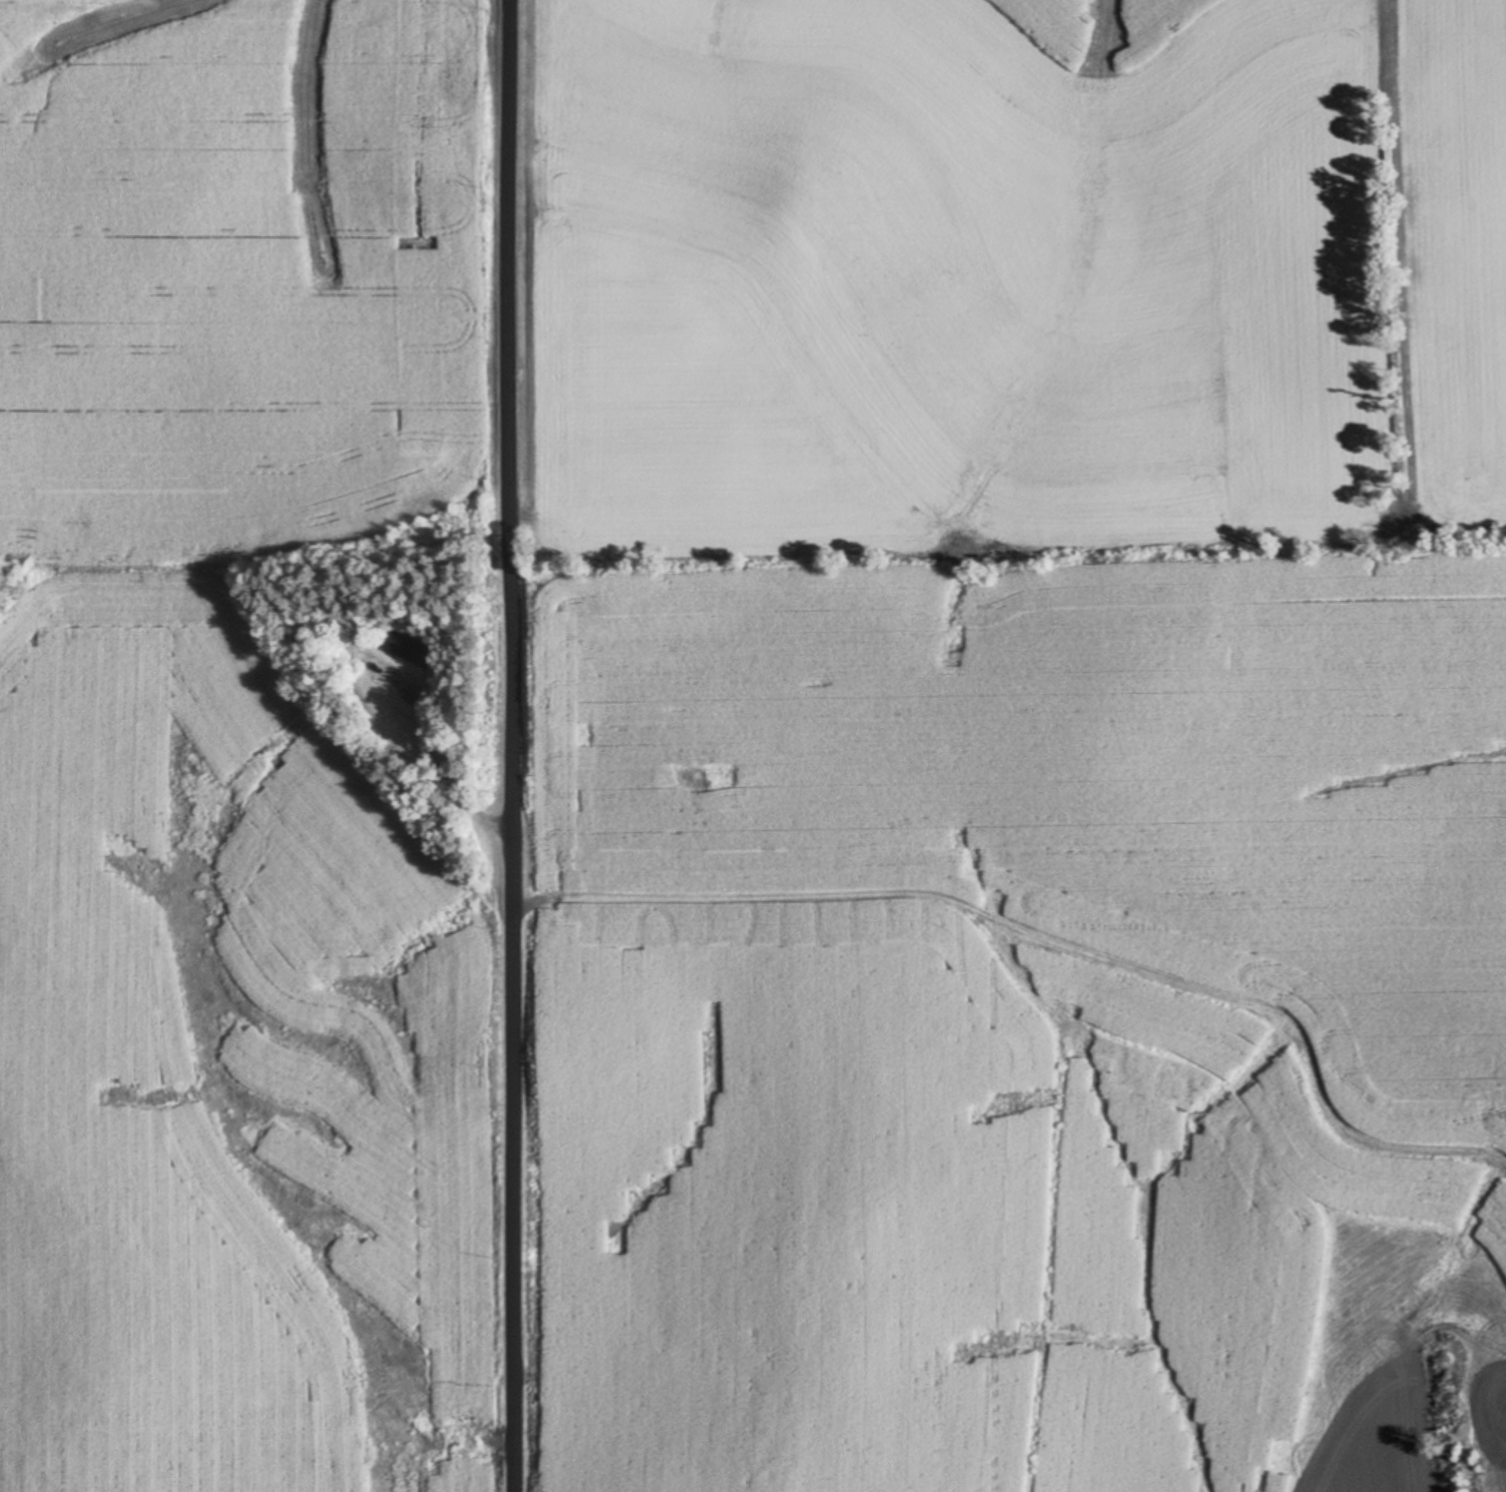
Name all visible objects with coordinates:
building: (406, 649)
crop: (1012, 745)
road: (511, 746)
crop: (236, 753)
road: (450, 780)

